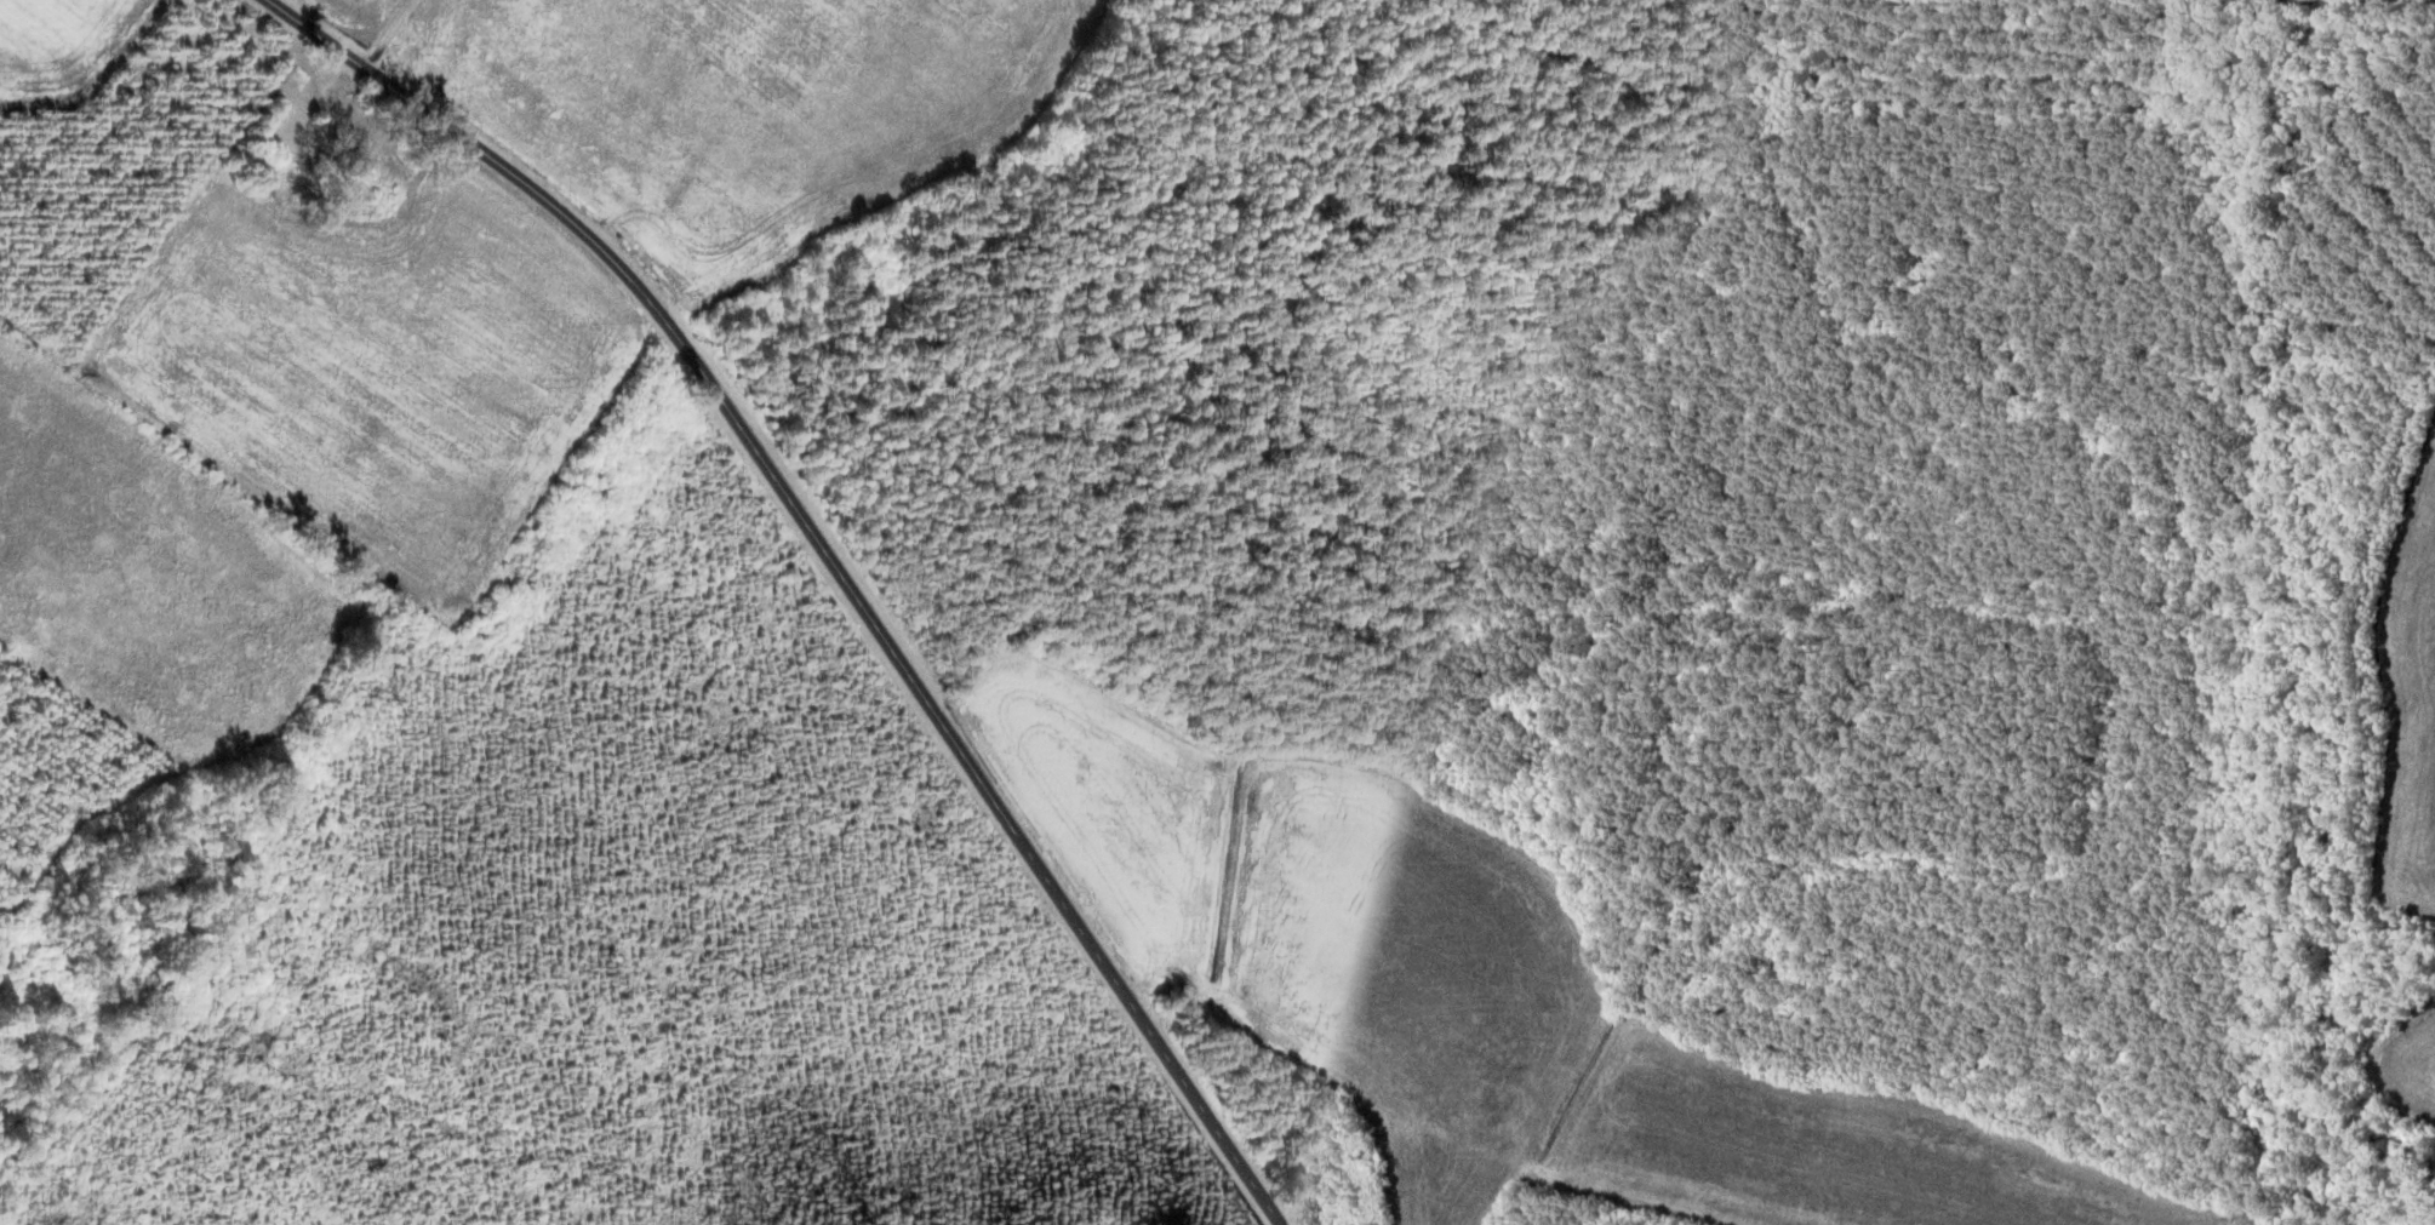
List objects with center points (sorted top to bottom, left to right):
road: (327, 32)
road: (383, 32)
road: (870, 606)

